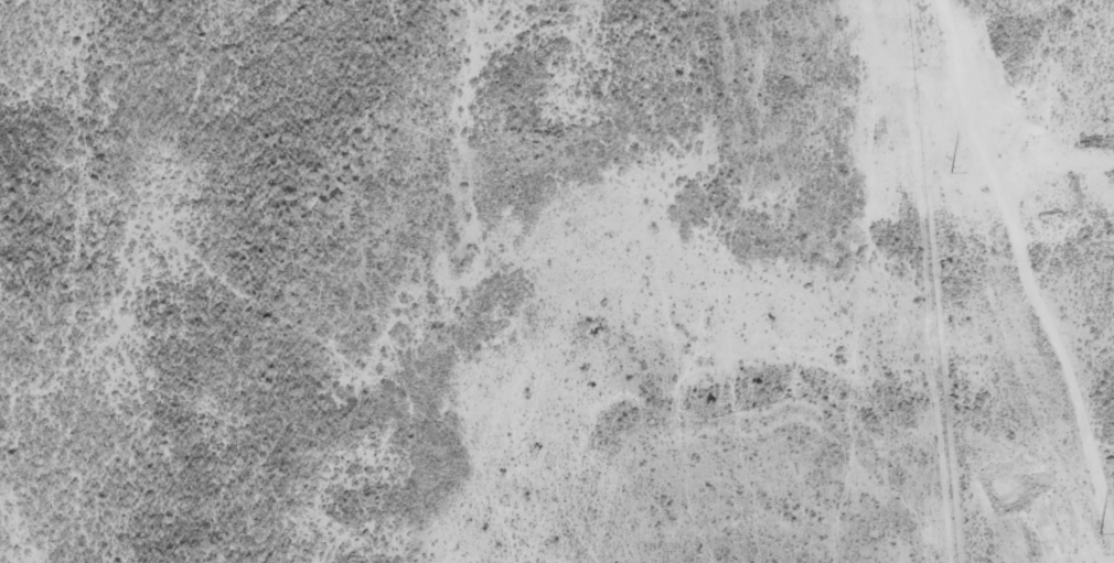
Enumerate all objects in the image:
power tower: (953, 172)
road: (1027, 259)
power tower: (1100, 533)

